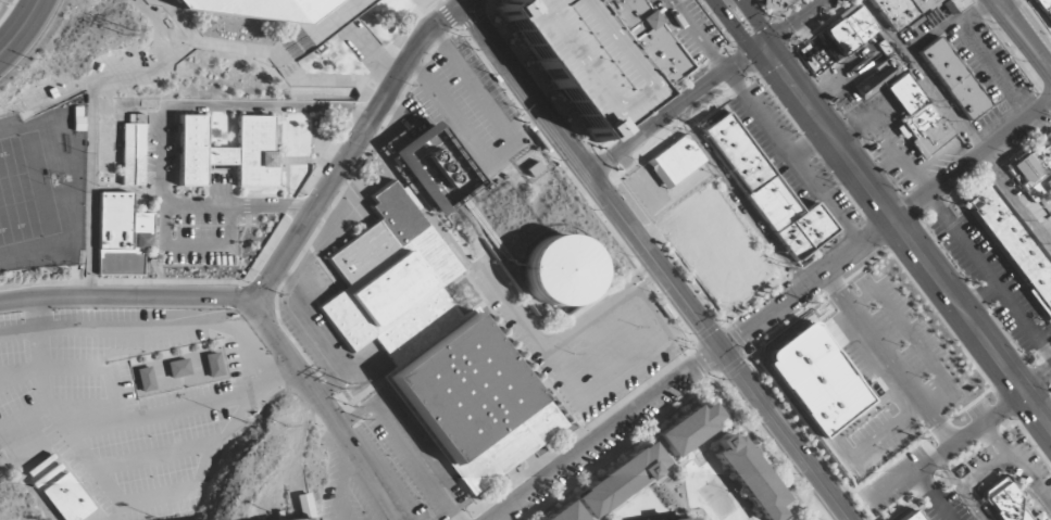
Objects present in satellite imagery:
road: (989, 0)
road: (989, 0)
road: (437, 1)
road: (464, 2)
building: (771, 4)
building: (955, 4)
road: (420, 5)
building: (1044, 8)
building: (257, 9)
stadium: (257, 9)
road: (440, 9)
building: (898, 11)
road: (477, 15)
road: (179, 21)
road: (796, 24)
road: (1031, 24)
road: (944, 26)
road: (21, 27)
parking lot: (687, 27)
road: (315, 28)
road: (408, 29)
power tower: (121, 30)
building: (844, 33)
road: (696, 36)
railway: (1021, 37)
road: (1021, 39)
building: (649, 40)
road: (34, 41)
railway: (477, 43)
traffic signals: (764, 48)
road: (372, 52)
road: (633, 53)
road: (574, 59)
building: (576, 59)
parking lot: (576, 59)
road: (285, 63)
road: (996, 69)
building: (877, 77)
building: (952, 78)
railway: (504, 86)
road: (370, 88)
road: (525, 89)
road: (697, 89)
building: (905, 96)
road: (811, 110)
road: (361, 119)
road: (160, 125)
road: (955, 126)
road: (90, 127)
road: (627, 129)
building: (929, 130)
road: (356, 138)
road: (548, 145)
building: (133, 150)
road: (508, 151)
building: (228, 152)
road: (612, 157)
road: (972, 161)
road: (288, 162)
road: (323, 162)
building: (676, 162)
building: (438, 169)
building: (1033, 172)
railway: (577, 176)
park: (24, 191)
building: (772, 192)
road: (740, 196)
road: (336, 199)
parking lot: (193, 210)
road: (300, 211)
building: (120, 236)
road: (268, 244)
road: (197, 246)
building: (1013, 248)
road: (283, 253)
building: (559, 270)
storage tank: (559, 270)
road: (641, 272)
road: (988, 277)
road: (647, 279)
parking lot: (991, 279)
road: (166, 282)
road: (43, 283)
road: (808, 284)
road: (628, 286)
road: (88, 289)
road: (630, 289)
road: (236, 295)
road: (978, 299)
road: (512, 307)
road: (586, 318)
road: (973, 326)
road: (630, 328)
road: (151, 329)
road: (553, 329)
road: (317, 335)
road: (718, 346)
building: (435, 347)
traffic signals: (721, 350)
road: (598, 352)
road: (39, 354)
road: (888, 358)
road: (291, 362)
road: (704, 364)
building: (213, 365)
road: (100, 368)
building: (179, 368)
road: (356, 368)
road: (625, 373)
road: (274, 377)
building: (146, 379)
building: (817, 380)
power tower: (340, 390)
road: (361, 395)
railway: (741, 395)
road: (335, 398)
road: (187, 405)
road: (617, 405)
power tower: (352, 406)
road: (54, 407)
parking lot: (120, 408)
road: (90, 426)
building: (688, 431)
road: (608, 434)
road: (961, 437)
road: (405, 444)
road: (622, 449)
road: (152, 456)
road: (709, 457)
road: (366, 470)
building: (749, 477)
road: (24, 478)
building: (621, 480)
road: (341, 481)
road: (652, 489)
road: (930, 496)
building: (66, 499)
building: (1002, 502)
building: (301, 506)
road: (138, 508)
building: (565, 512)
road: (690, 512)
road: (746, 513)
road: (123, 515)
road: (612, 517)
building: (911, 517)
building: (306, 519)
stadium: (306, 519)
building: (677, 519)
building: (691, 519)
road: (848, 519)

